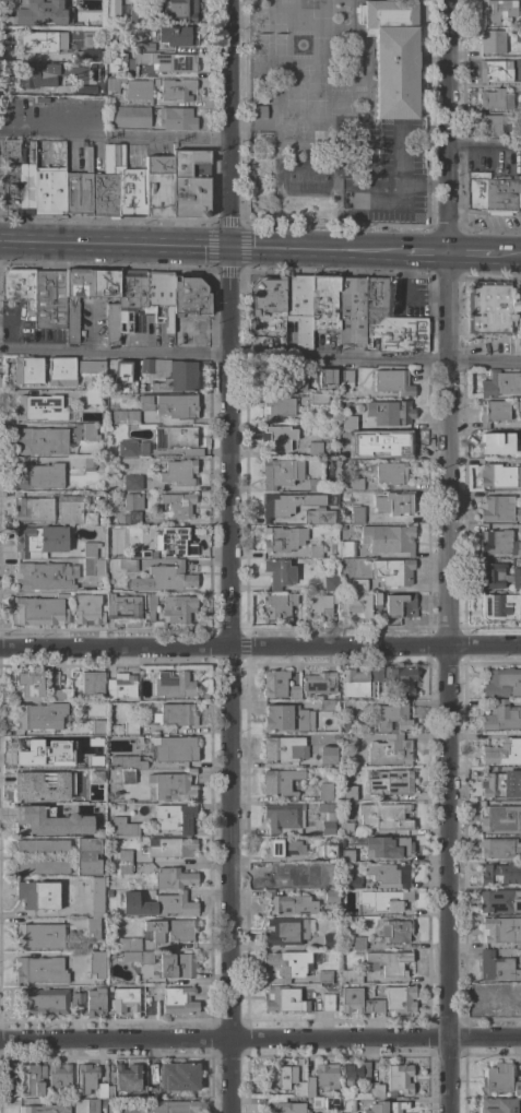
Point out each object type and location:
building: (110, 9)
building: (29, 10)
building: (179, 11)
building: (498, 11)
building: (141, 12)
building: (86, 24)
building: (176, 35)
building: (35, 42)
building: (492, 42)
building: (144, 47)
building: (91, 55)
building: (393, 56)
building: (130, 62)
building: (181, 62)
building: (353, 63)
building: (497, 71)
building: (35, 75)
building: (156, 82)
building: (259, 83)
building: (113, 85)
building: (81, 90)
building: (138, 90)
building: (176, 90)
building: (259, 96)
building: (40, 99)
building: (495, 99)
building: (109, 100)
building: (258, 111)
building: (131, 117)
building: (176, 118)
road: (226, 123)
building: (497, 125)
road: (443, 127)
road: (114, 139)
road: (482, 149)
building: (37, 163)
road: (401, 176)
building: (16, 180)
building: (51, 180)
building: (190, 183)
building: (158, 186)
building: (80, 188)
building: (118, 189)
building: (493, 193)
road: (114, 246)
traffic signals: (227, 249)
road: (312, 251)
road: (421, 253)
road: (467, 254)
road: (507, 254)
building: (17, 284)
building: (104, 284)
building: (161, 295)
building: (190, 295)
building: (49, 299)
building: (130, 300)
building: (74, 301)
building: (324, 304)
building: (267, 307)
building: (492, 307)
building: (298, 308)
building: (351, 311)
building: (113, 323)
building: (390, 324)
building: (513, 344)
road: (260, 357)
building: (91, 367)
building: (27, 370)
building: (61, 371)
building: (169, 375)
building: (323, 377)
building: (294, 378)
building: (345, 380)
building: (392, 382)
building: (499, 383)
building: (86, 396)
building: (102, 396)
building: (318, 399)
building: (144, 402)
building: (518, 405)
building: (177, 406)
building: (39, 407)
building: (276, 407)
building: (389, 413)
building: (493, 413)
building: (123, 417)
building: (348, 423)
building: (91, 431)
building: (73, 433)
building: (174, 437)
building: (277, 437)
building: (40, 441)
building: (395, 442)
building: (500, 446)
building: (142, 448)
road: (227, 448)
building: (126, 449)
building: (315, 449)
building: (192, 452)
building: (358, 453)
building: (88, 463)
building: (99, 465)
building: (178, 473)
building: (280, 473)
building: (391, 473)
building: (37, 475)
building: (499, 476)
building: (132, 483)
building: (355, 484)
building: (316, 485)
building: (132, 501)
building: (391, 504)
building: (279, 505)
building: (177, 506)
building: (496, 508)
building: (34, 509)
building: (69, 509)
building: (356, 509)
building: (518, 514)
building: (318, 516)
building: (90, 518)
building: (130, 518)
building: (277, 538)
building: (388, 538)
building: (39, 541)
building: (173, 543)
building: (496, 543)
building: (346, 548)
building: (518, 548)
building: (88, 549)
building: (315, 552)
building: (137, 553)
building: (128, 565)
building: (93, 567)
building: (393, 572)
building: (277, 573)
building: (44, 576)
building: (169, 577)
building: (498, 577)
building: (330, 583)
building: (357, 584)
building: (376, 601)
building: (277, 604)
building: (321, 604)
building: (400, 605)
building: (150, 606)
building: (122, 607)
building: (178, 607)
building: (354, 607)
building: (499, 607)
building: (87, 609)
building: (39, 611)
road: (484, 646)
road: (223, 648)
building: (375, 675)
building: (400, 680)
road: (446, 683)
building: (502, 683)
building: (273, 684)
building: (318, 684)
building: (355, 684)
building: (92, 685)
building: (119, 685)
building: (173, 685)
building: (27, 686)
building: (293, 692)
building: (61, 695)
building: (329, 704)
building: (348, 709)
building: (176, 714)
building: (42, 717)
building: (501, 717)
building: (392, 718)
building: (284, 719)
building: (97, 726)
building: (130, 727)
building: (350, 742)
building: (173, 748)
building: (284, 748)
building: (40, 750)
building: (390, 750)
building: (502, 753)
building: (327, 755)
building: (91, 757)
building: (123, 762)
building: (91, 777)
building: (127, 777)
building: (280, 782)
building: (389, 782)
building: (501, 784)
building: (173, 785)
building: (40, 789)
building: (325, 792)
building: (346, 796)
building: (92, 817)
building: (384, 817)
building: (175, 818)
building: (501, 818)
building: (282, 819)
building: (328, 819)
building: (39, 820)
building: (122, 827)
building: (345, 828)
road: (227, 842)
building: (42, 846)
building: (388, 846)
building: (169, 848)
building: (283, 849)
building: (499, 849)
building: (327, 851)
building: (123, 855)
building: (346, 855)
building: (87, 856)
building: (42, 867)
building: (123, 868)
building: (328, 869)
building: (389, 874)
building: (500, 874)
building: (281, 877)
building: (173, 878)
building: (353, 883)
building: (37, 895)
building: (96, 896)
building: (331, 896)
building: (384, 900)
building: (498, 901)
building: (289, 903)
building: (157, 904)
road: (47, 914)
building: (93, 928)
building: (170, 930)
building: (501, 930)
building: (285, 931)
building: (395, 931)
building: (39, 936)
building: (330, 942)
building: (357, 943)
building: (134, 944)
building: (135, 956)
building: (96, 963)
building: (293, 963)
building: (388, 963)
building: (176, 966)
building: (496, 967)
building: (39, 970)
building: (350, 975)
building: (324, 976)
building: (500, 997)
building: (400, 998)
building: (76, 999)
building: (351, 999)
building: (123, 1000)
building: (178, 1000)
building: (284, 1000)
building: (43, 1002)
building: (327, 1002)
building: (94, 1003)
building: (377, 1005)
building: (367, 1006)
building: (149, 1008)
road: (375, 1037)
road: (114, 1038)
building: (42, 1070)
building: (353, 1074)
road: (228, 1075)
building: (127, 1076)
building: (327, 1076)
building: (58, 1077)
building: (279, 1077)
building: (86, 1078)
building: (178, 1078)
building: (497, 1078)
building: (399, 1079)
building: (28, 1080)
building: (106, 1087)
building: (309, 1087)
building: (376, 1089)
building: (517, 1089)
building: (299, 1090)
building: (72, 1091)
building: (325, 1103)
building: (92, 1105)
building: (347, 1105)
building: (496, 1105)
building: (42, 1106)
building: (170, 1106)
building: (384, 1106)
building: (287, 1108)

